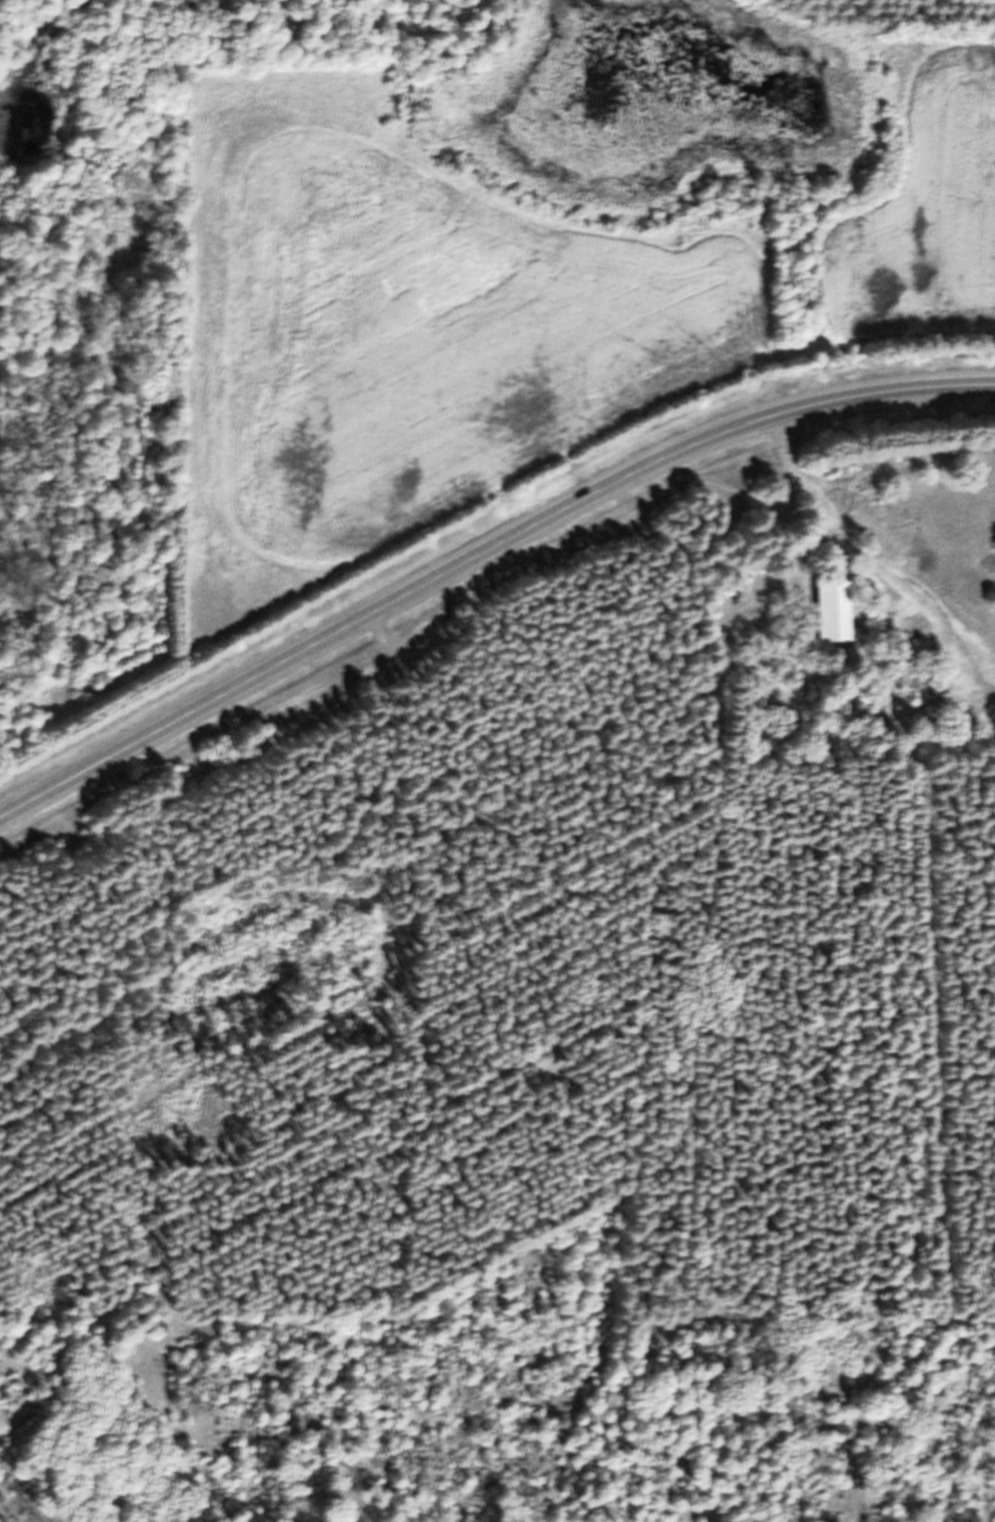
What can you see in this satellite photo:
road: (478, 539)

